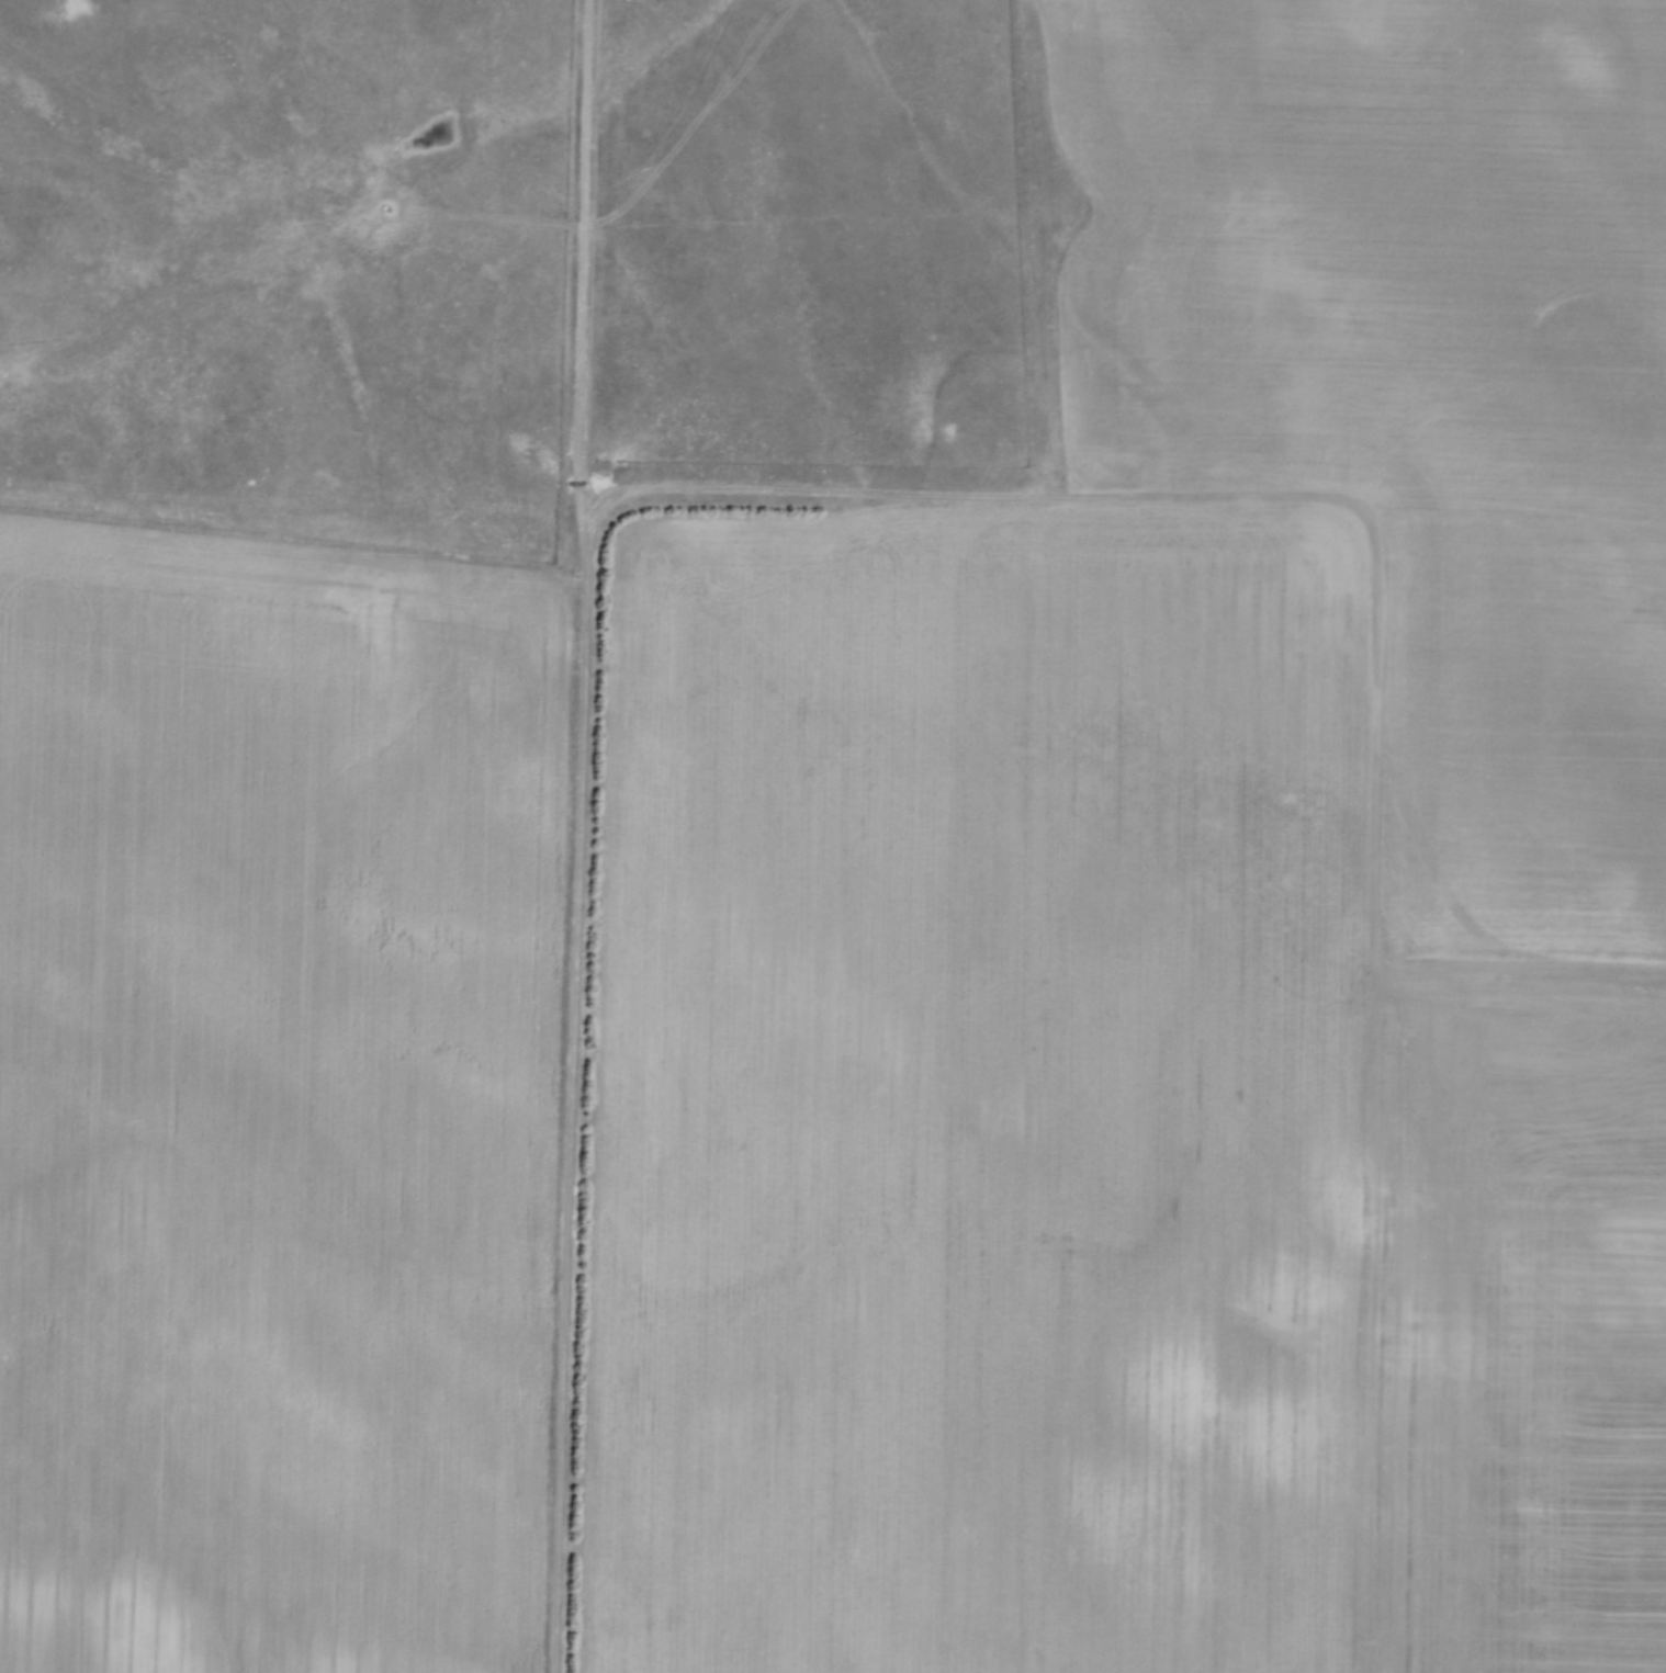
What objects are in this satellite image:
road: (578, 836)
crop: (1177, 927)
crop: (273, 1099)

